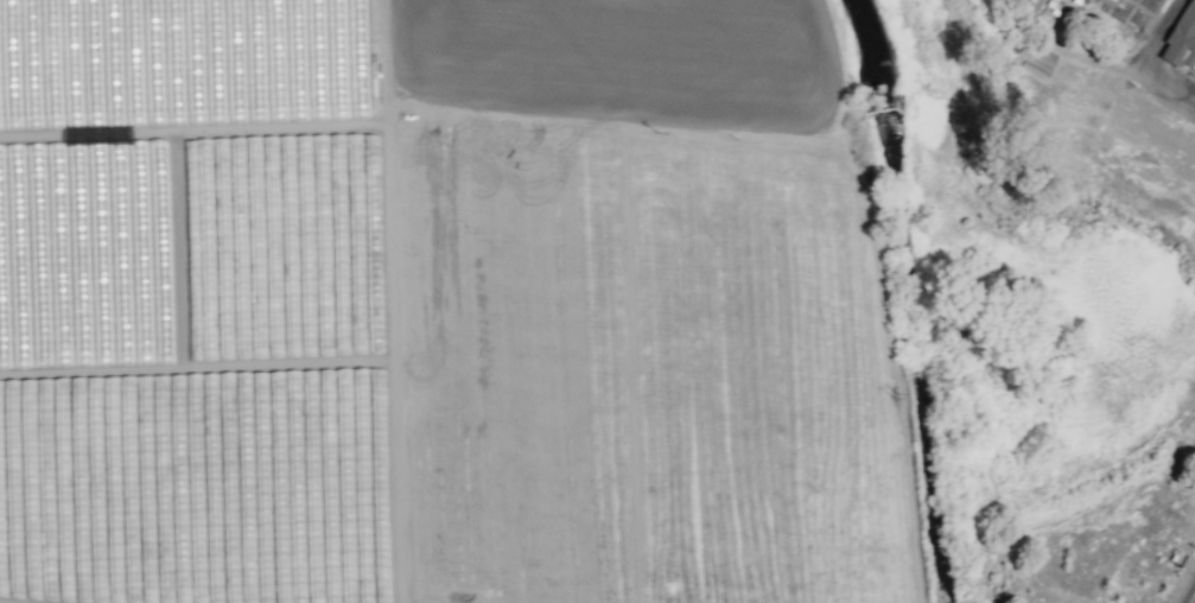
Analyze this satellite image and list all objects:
park: (1099, 12)
building: (1184, 40)
building: (1036, 59)
road: (392, 167)
crop: (455, 305)
crop: (1035, 350)

